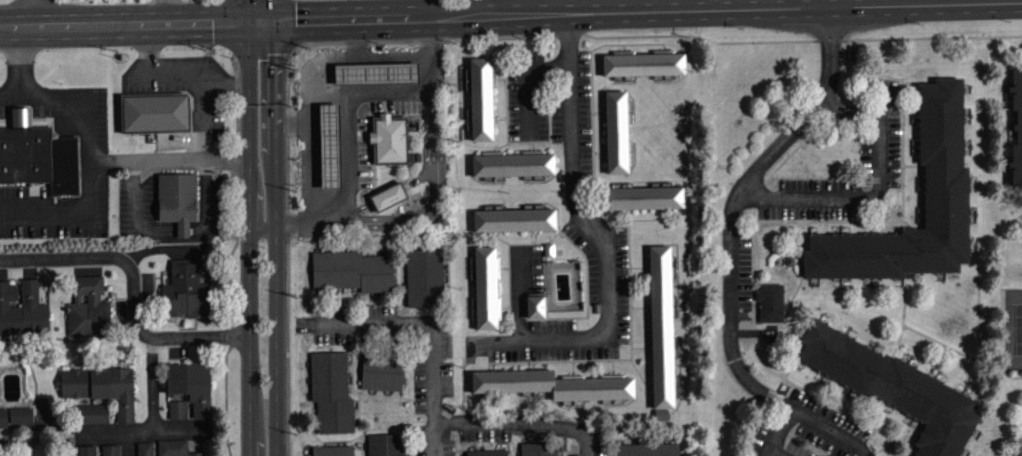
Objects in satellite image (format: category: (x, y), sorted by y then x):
road: (826, 2)
road: (255, 9)
road: (639, 11)
road: (40, 13)
traffic signals: (257, 19)
road: (128, 25)
road: (404, 53)
road: (26, 63)
building: (643, 63)
road: (193, 69)
building: (481, 98)
road: (69, 102)
building: (155, 111)
road: (217, 117)
building: (389, 124)
gas station: (389, 124)
building: (1017, 124)
building: (617, 130)
road: (310, 146)
building: (39, 154)
road: (185, 156)
building: (513, 163)
road: (264, 177)
road: (877, 194)
building: (388, 195)
building: (946, 195)
building: (642, 196)
building: (177, 199)
road: (77, 214)
road: (433, 214)
building: (515, 219)
road: (731, 231)
road: (603, 243)
building: (352, 270)
building: (425, 275)
building: (485, 286)
building: (186, 291)
road: (519, 294)
road: (134, 295)
building: (771, 301)
building: (89, 309)
building: (536, 309)
building: (23, 310)
road: (433, 328)
park: (1017, 330)
building: (662, 333)
building: (381, 369)
road: (152, 381)
building: (553, 383)
building: (892, 385)
building: (191, 386)
building: (102, 389)
building: (331, 392)
road: (264, 396)
building: (177, 410)
building: (93, 415)
building: (16, 418)
road: (136, 423)
road: (523, 423)
road: (831, 430)
building: (385, 444)
building: (174, 448)
building: (146, 449)
building: (538, 449)
building: (648, 449)
building: (333, 450)
building: (87, 451)
building: (111, 451)
building: (487, 452)
road: (775, 453)

